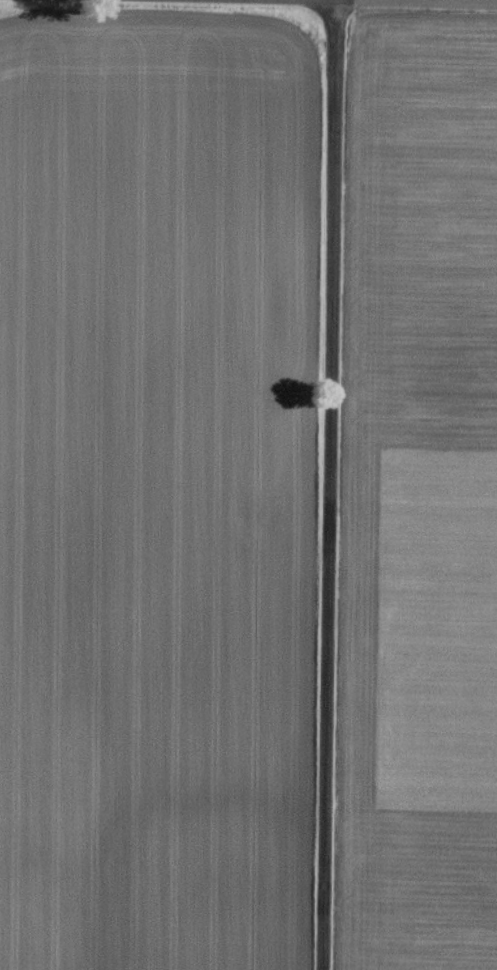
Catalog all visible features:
road: (336, 485)

